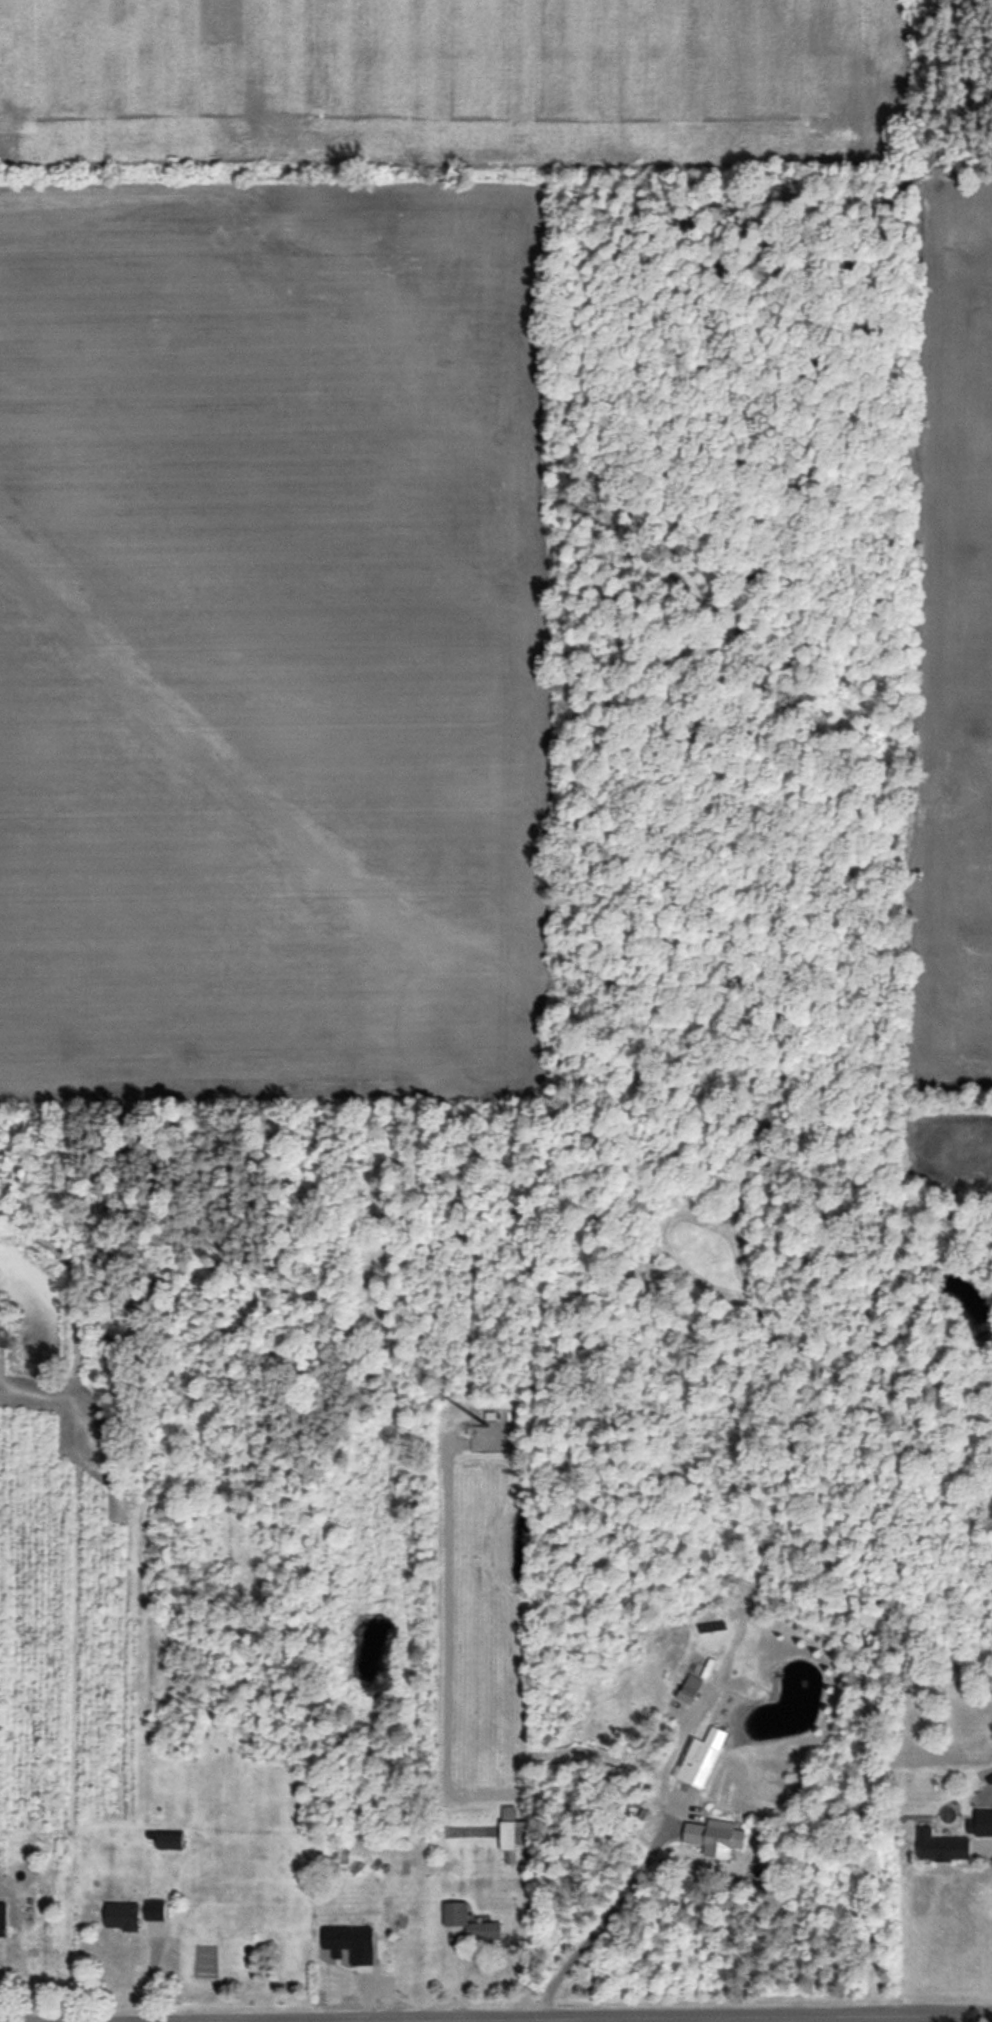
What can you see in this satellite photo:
building: (688, 1688)
building: (698, 1757)
building: (980, 1823)
building: (511, 1831)
building: (714, 1836)
building: (169, 1839)
building: (941, 1845)
road: (990, 1862)
building: (154, 1909)
building: (122, 1915)
building: (3, 1918)
building: (469, 1922)
building: (350, 1942)
road: (543, 2017)
road: (169, 2021)

